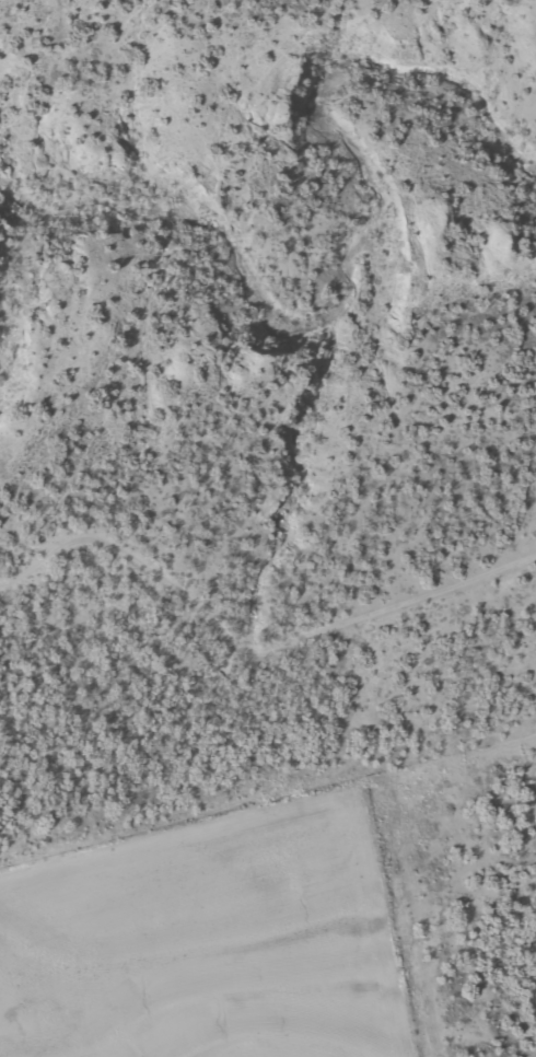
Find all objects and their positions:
road: (306, 802)

